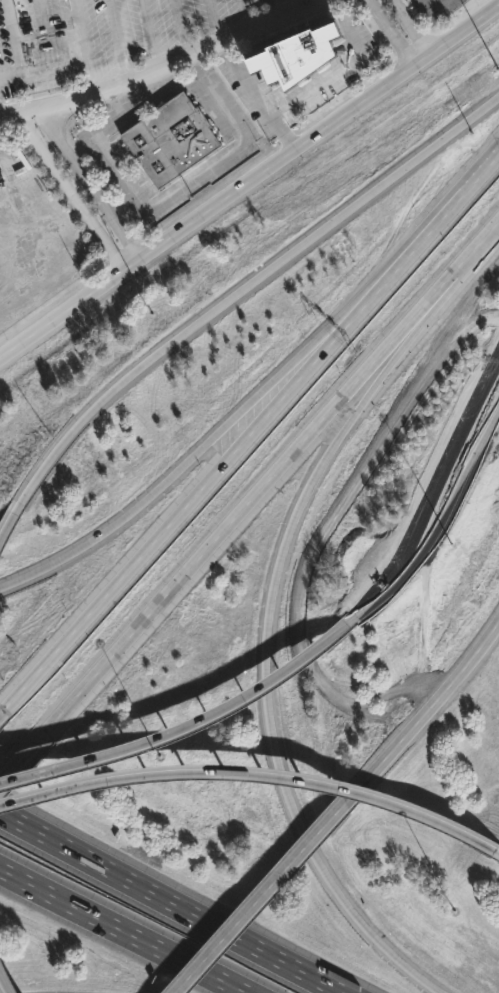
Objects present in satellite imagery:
road: (310, 4)
road: (277, 10)
road: (247, 16)
road: (214, 23)
road: (415, 27)
road: (181, 30)
road: (391, 34)
parking lot: (97, 35)
building: (300, 55)
road: (168, 68)
road: (330, 75)
road: (258, 99)
building: (172, 139)
road: (88, 187)
road: (250, 187)
road: (72, 198)
road: (423, 238)
road: (481, 254)
road: (242, 291)
road: (310, 353)
road: (266, 481)
road: (147, 498)
road: (174, 520)
road: (6, 525)
road: (428, 525)
road: (268, 637)
road: (419, 724)
road: (181, 729)
road: (17, 760)
road: (249, 780)
road: (494, 856)
road: (171, 902)
road: (261, 909)
road: (122, 931)
road: (0, 991)

